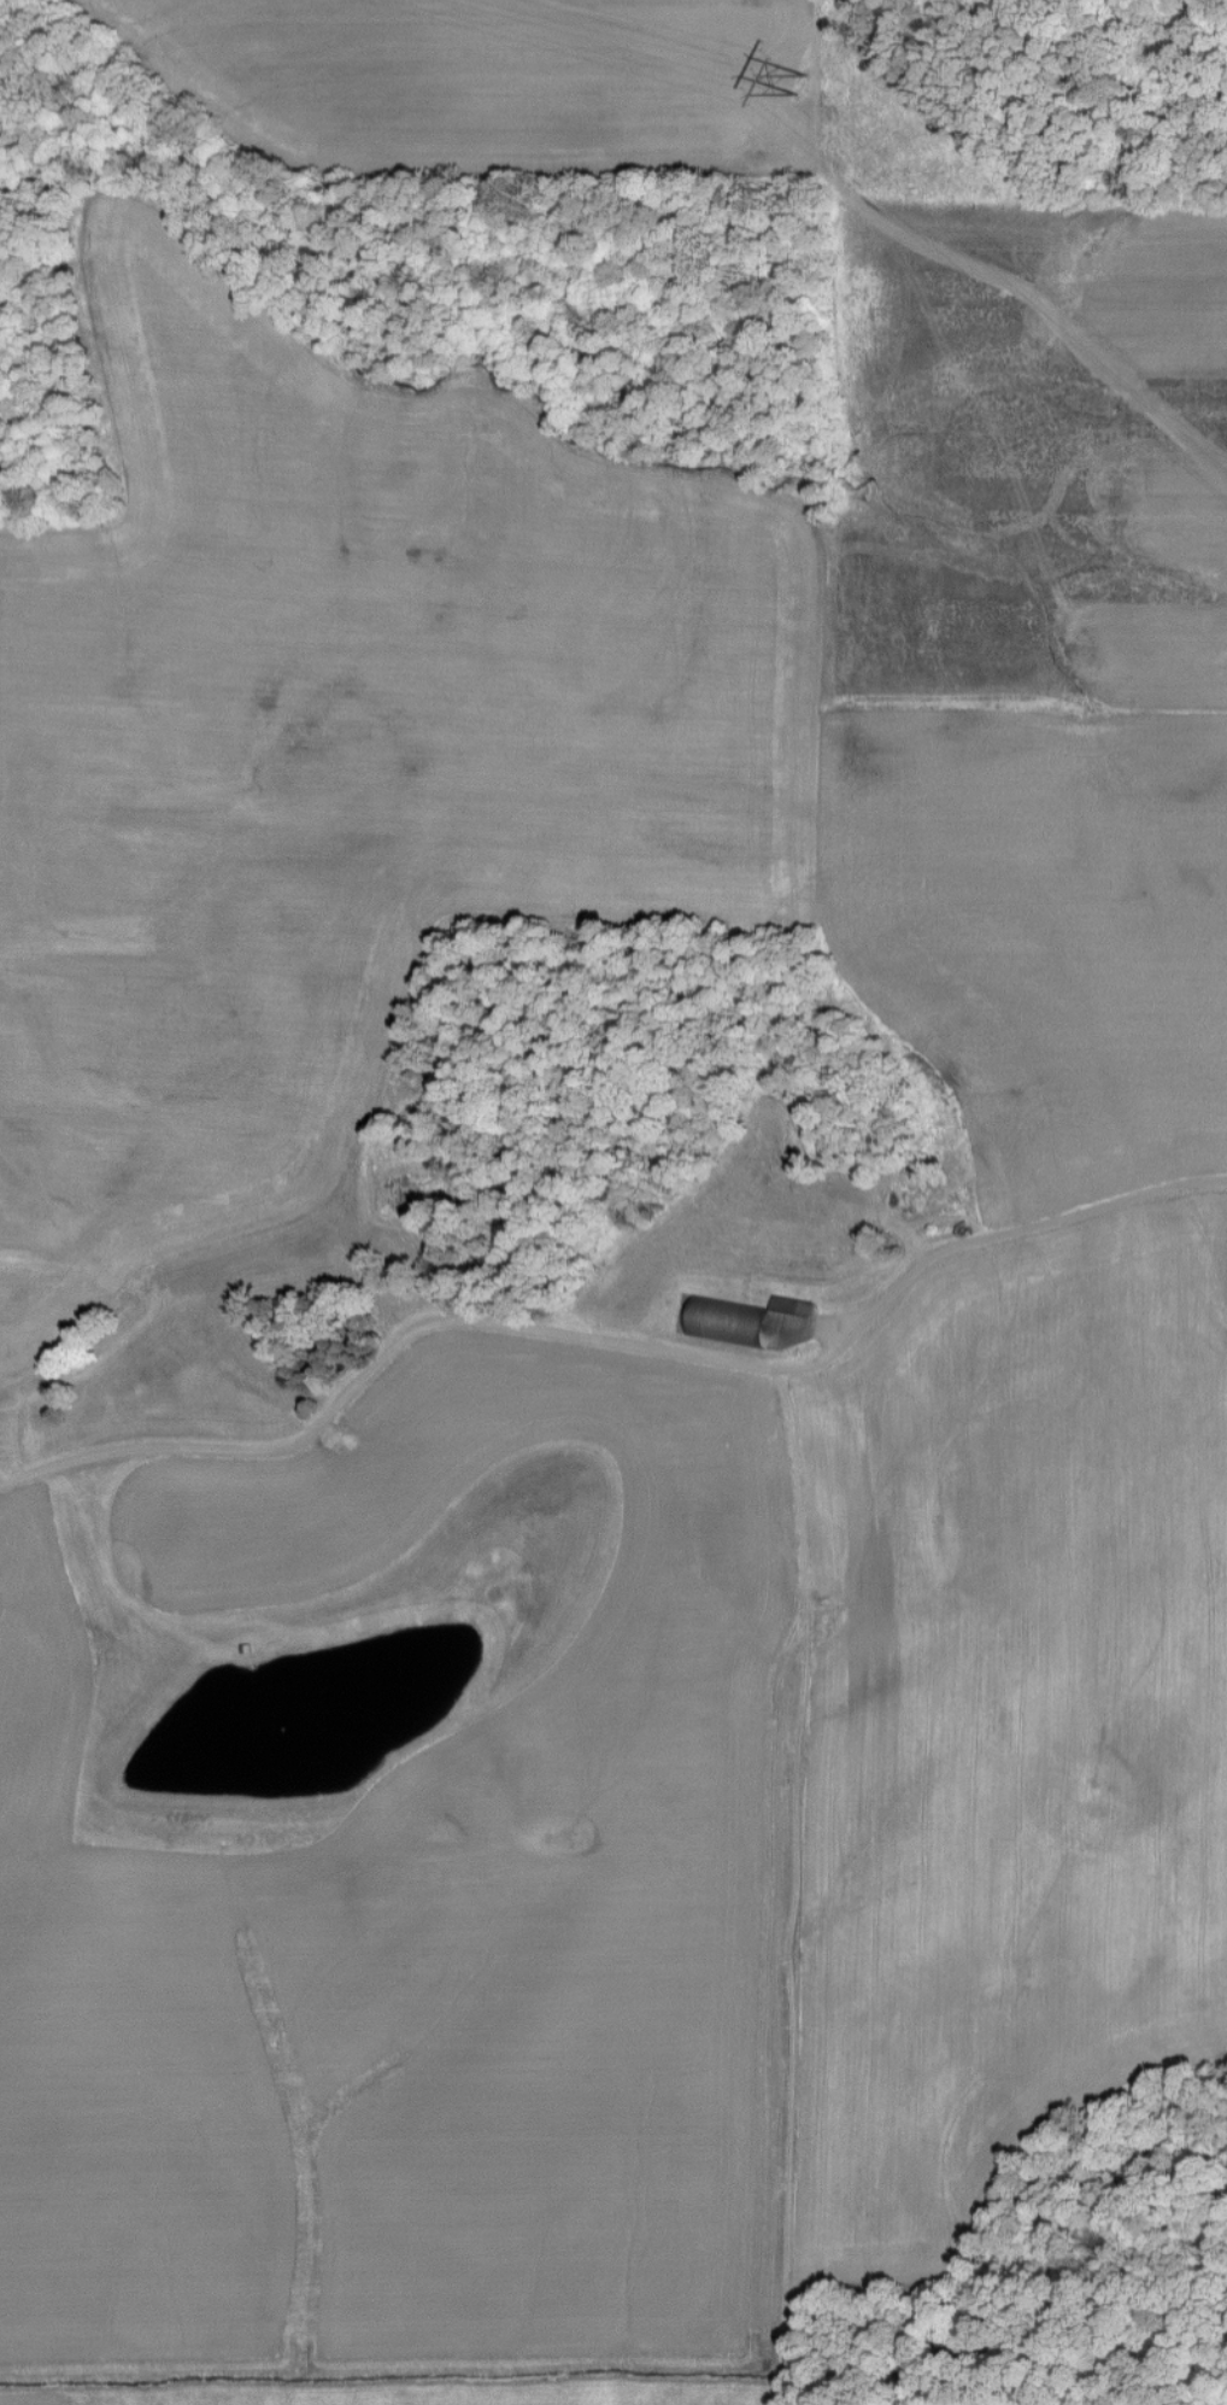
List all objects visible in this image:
power tower: (799, 84)
building: (721, 1321)
road: (612, 1341)

